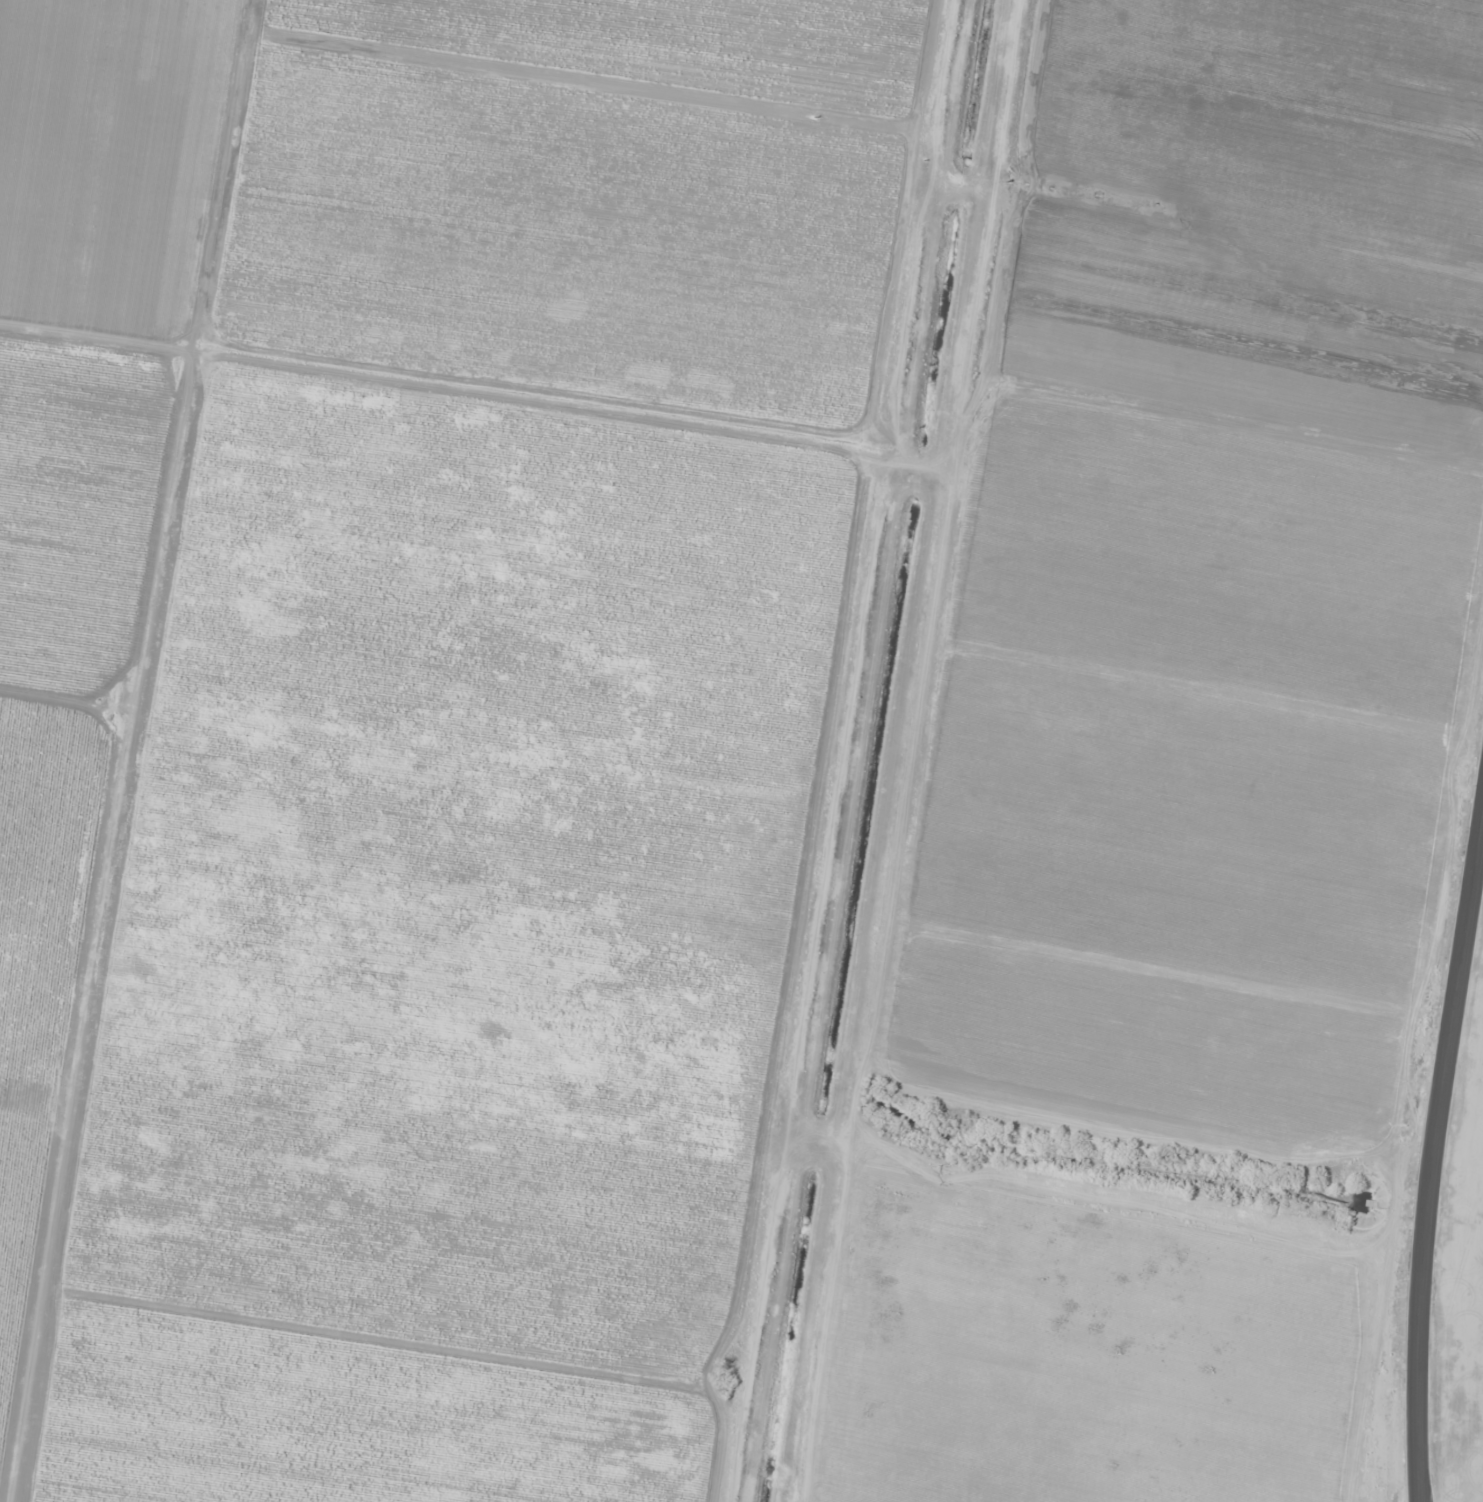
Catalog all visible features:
road: (1428, 1164)

